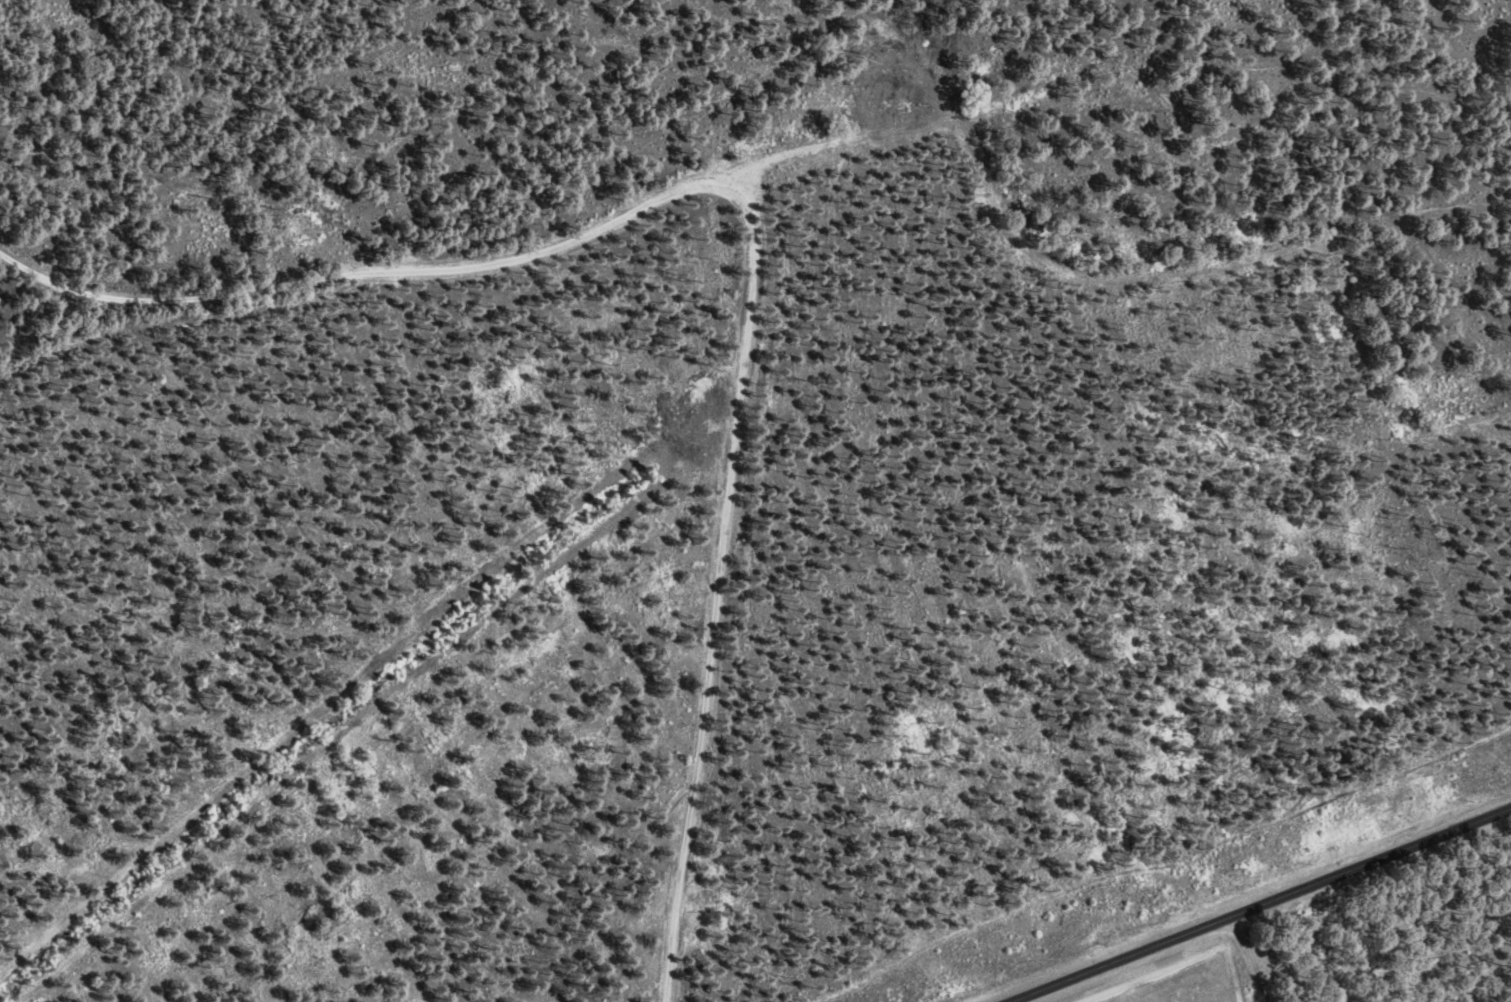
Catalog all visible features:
road: (750, 214)
road: (371, 676)
road: (1262, 904)
road: (1250, 958)

